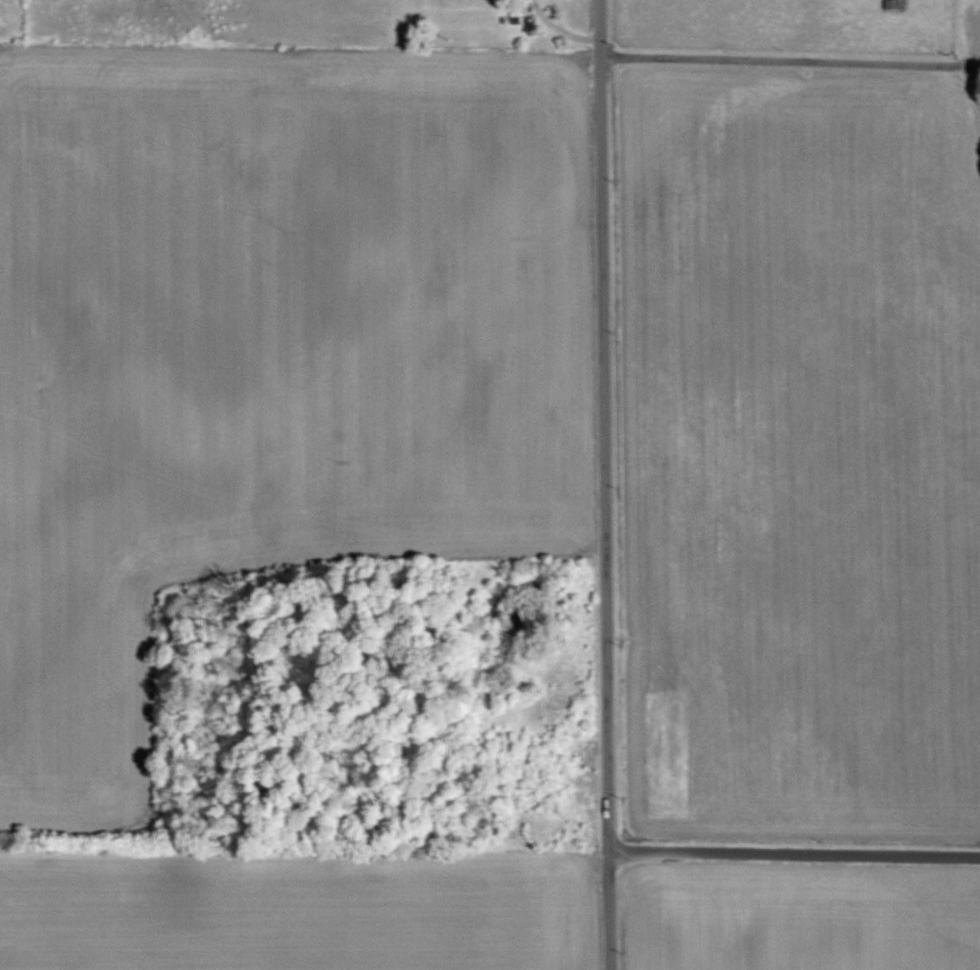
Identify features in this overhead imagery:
building: (891, 4)
road: (801, 58)
road: (606, 484)
road: (794, 855)

